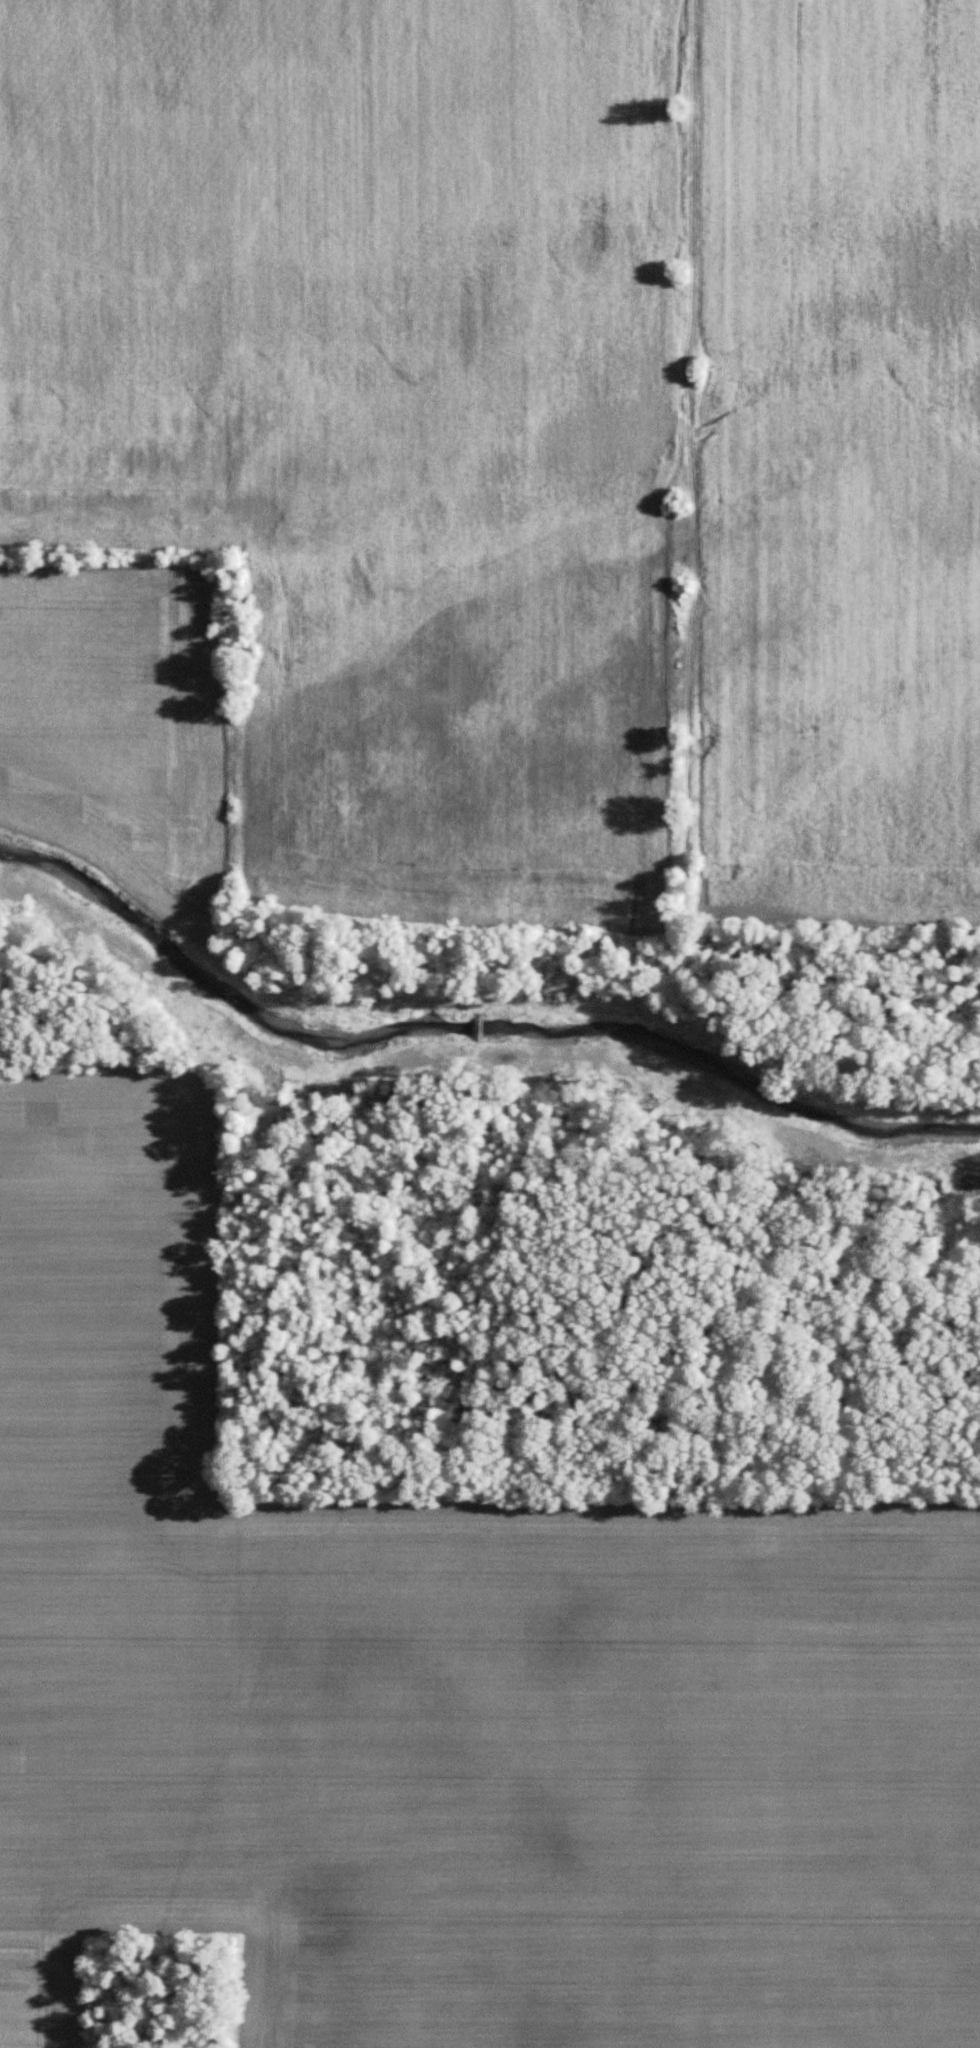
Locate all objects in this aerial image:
river: (472, 1025)

